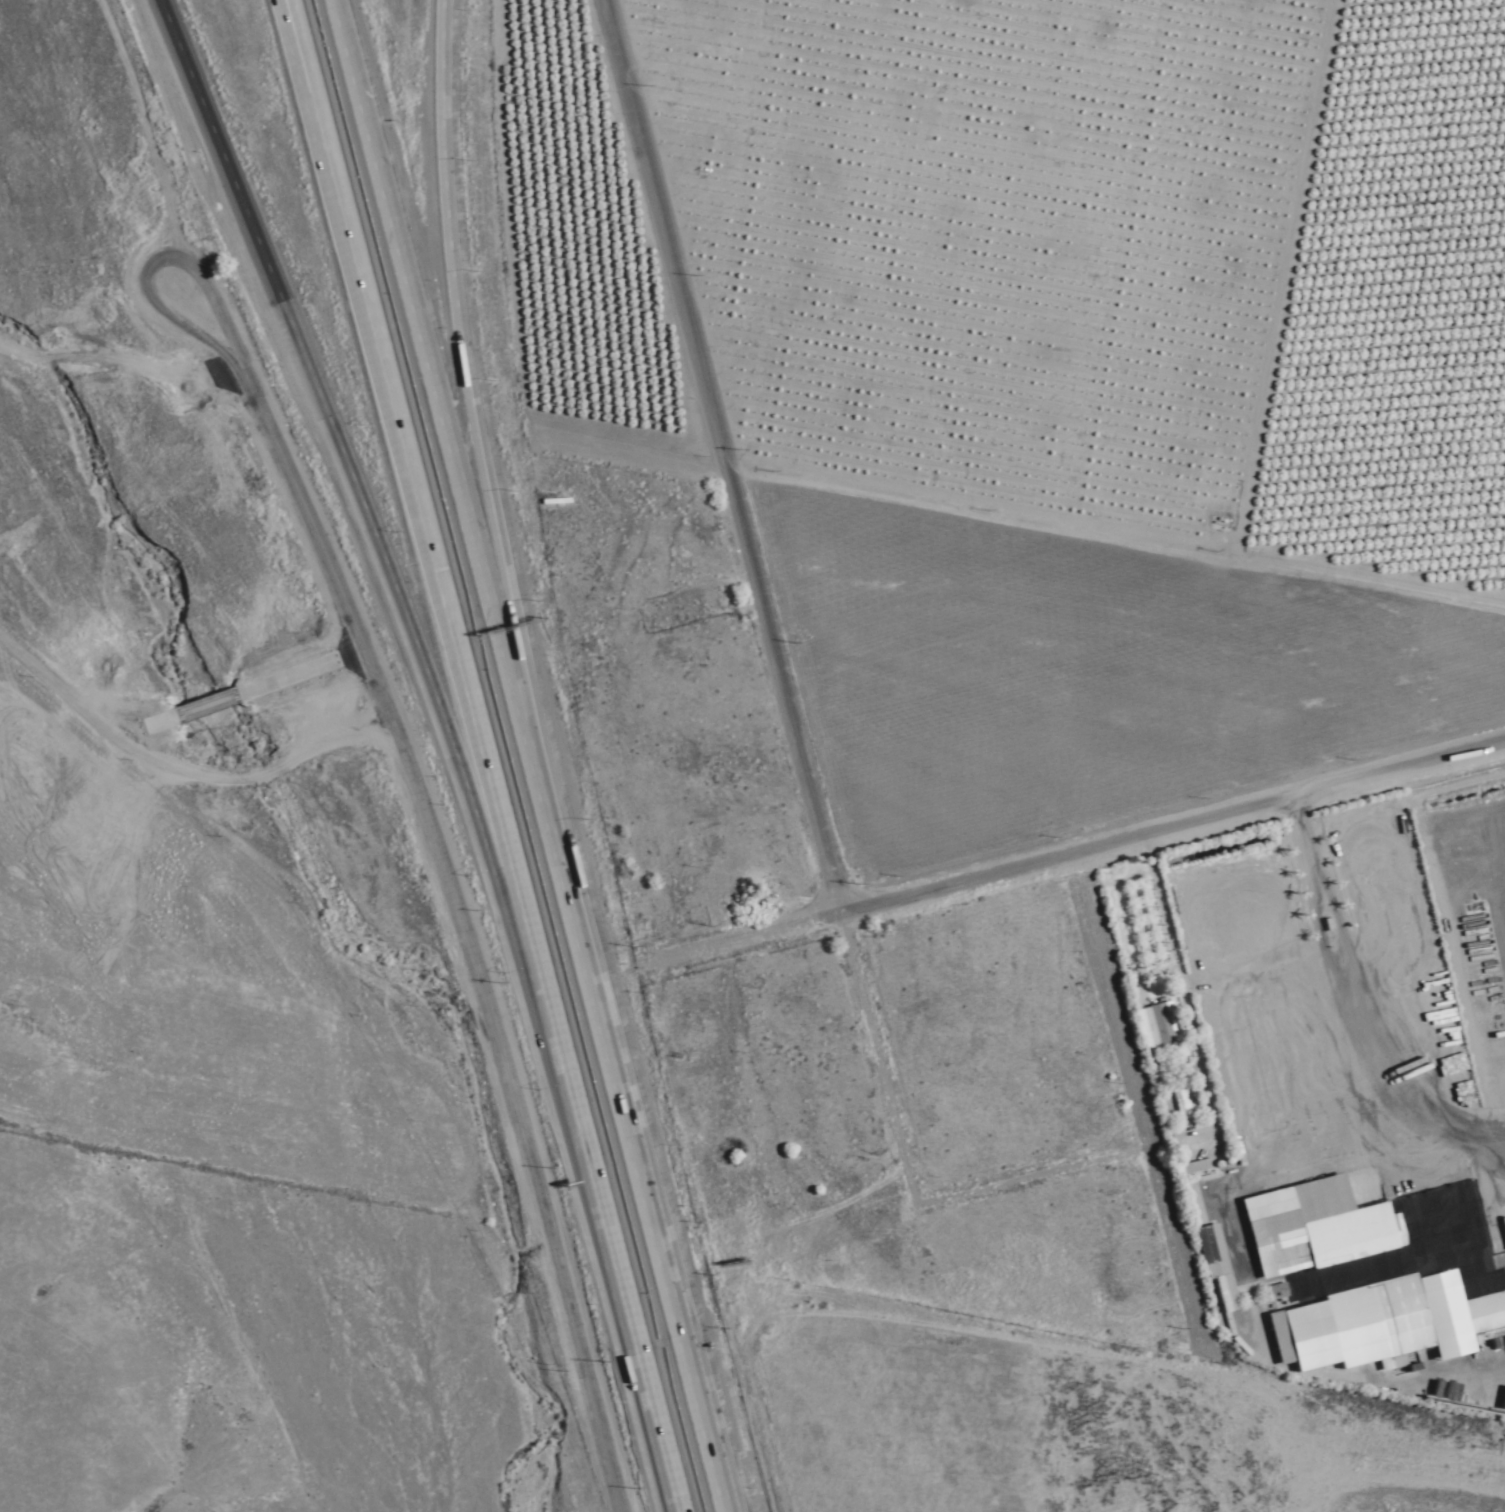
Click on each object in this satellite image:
road: (320, 118)
road: (307, 120)
crop: (1021, 235)
road: (153, 261)
road: (441, 400)
road: (479, 402)
road: (402, 452)
road: (1020, 516)
road: (370, 532)
road: (317, 535)
road: (764, 603)
road: (181, 768)
road: (1298, 801)
road: (1310, 850)
road: (510, 869)
crop: (1462, 893)
road: (869, 909)
road: (1338, 918)
road: (1318, 921)
road: (1186, 984)
road: (1352, 1000)
building: (1161, 1024)
building: (1183, 1102)
road: (1158, 1109)
road: (521, 1114)
road: (637, 1156)
building: (1196, 1166)
building: (1195, 1204)
building: (1219, 1267)
building: (1362, 1289)
road: (619, 1292)
crop: (1103, 1416)

